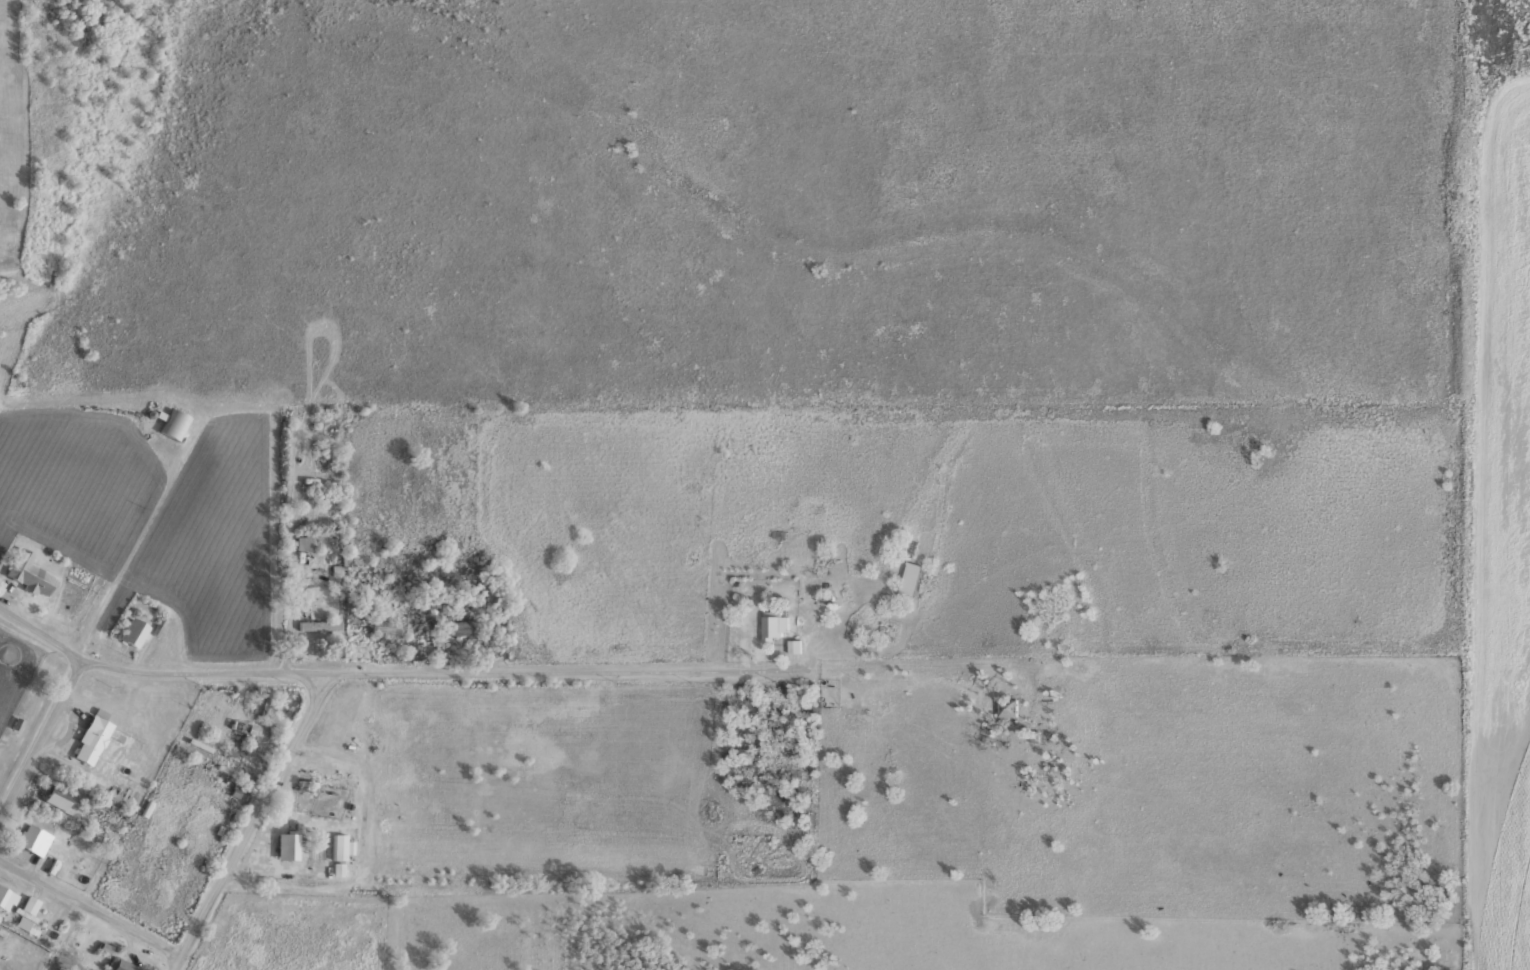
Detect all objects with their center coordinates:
building: (174, 424)
building: (303, 541)
building: (29, 572)
building: (911, 577)
building: (307, 624)
building: (775, 625)
building: (458, 627)
building: (133, 632)
road: (399, 672)
building: (262, 704)
building: (1007, 705)
building: (91, 737)
road: (41, 741)
building: (236, 788)
building: (64, 797)
road: (253, 823)
building: (34, 838)
building: (286, 843)
building: (339, 845)
building: (6, 897)
road: (92, 904)
building: (26, 911)
building: (122, 964)

